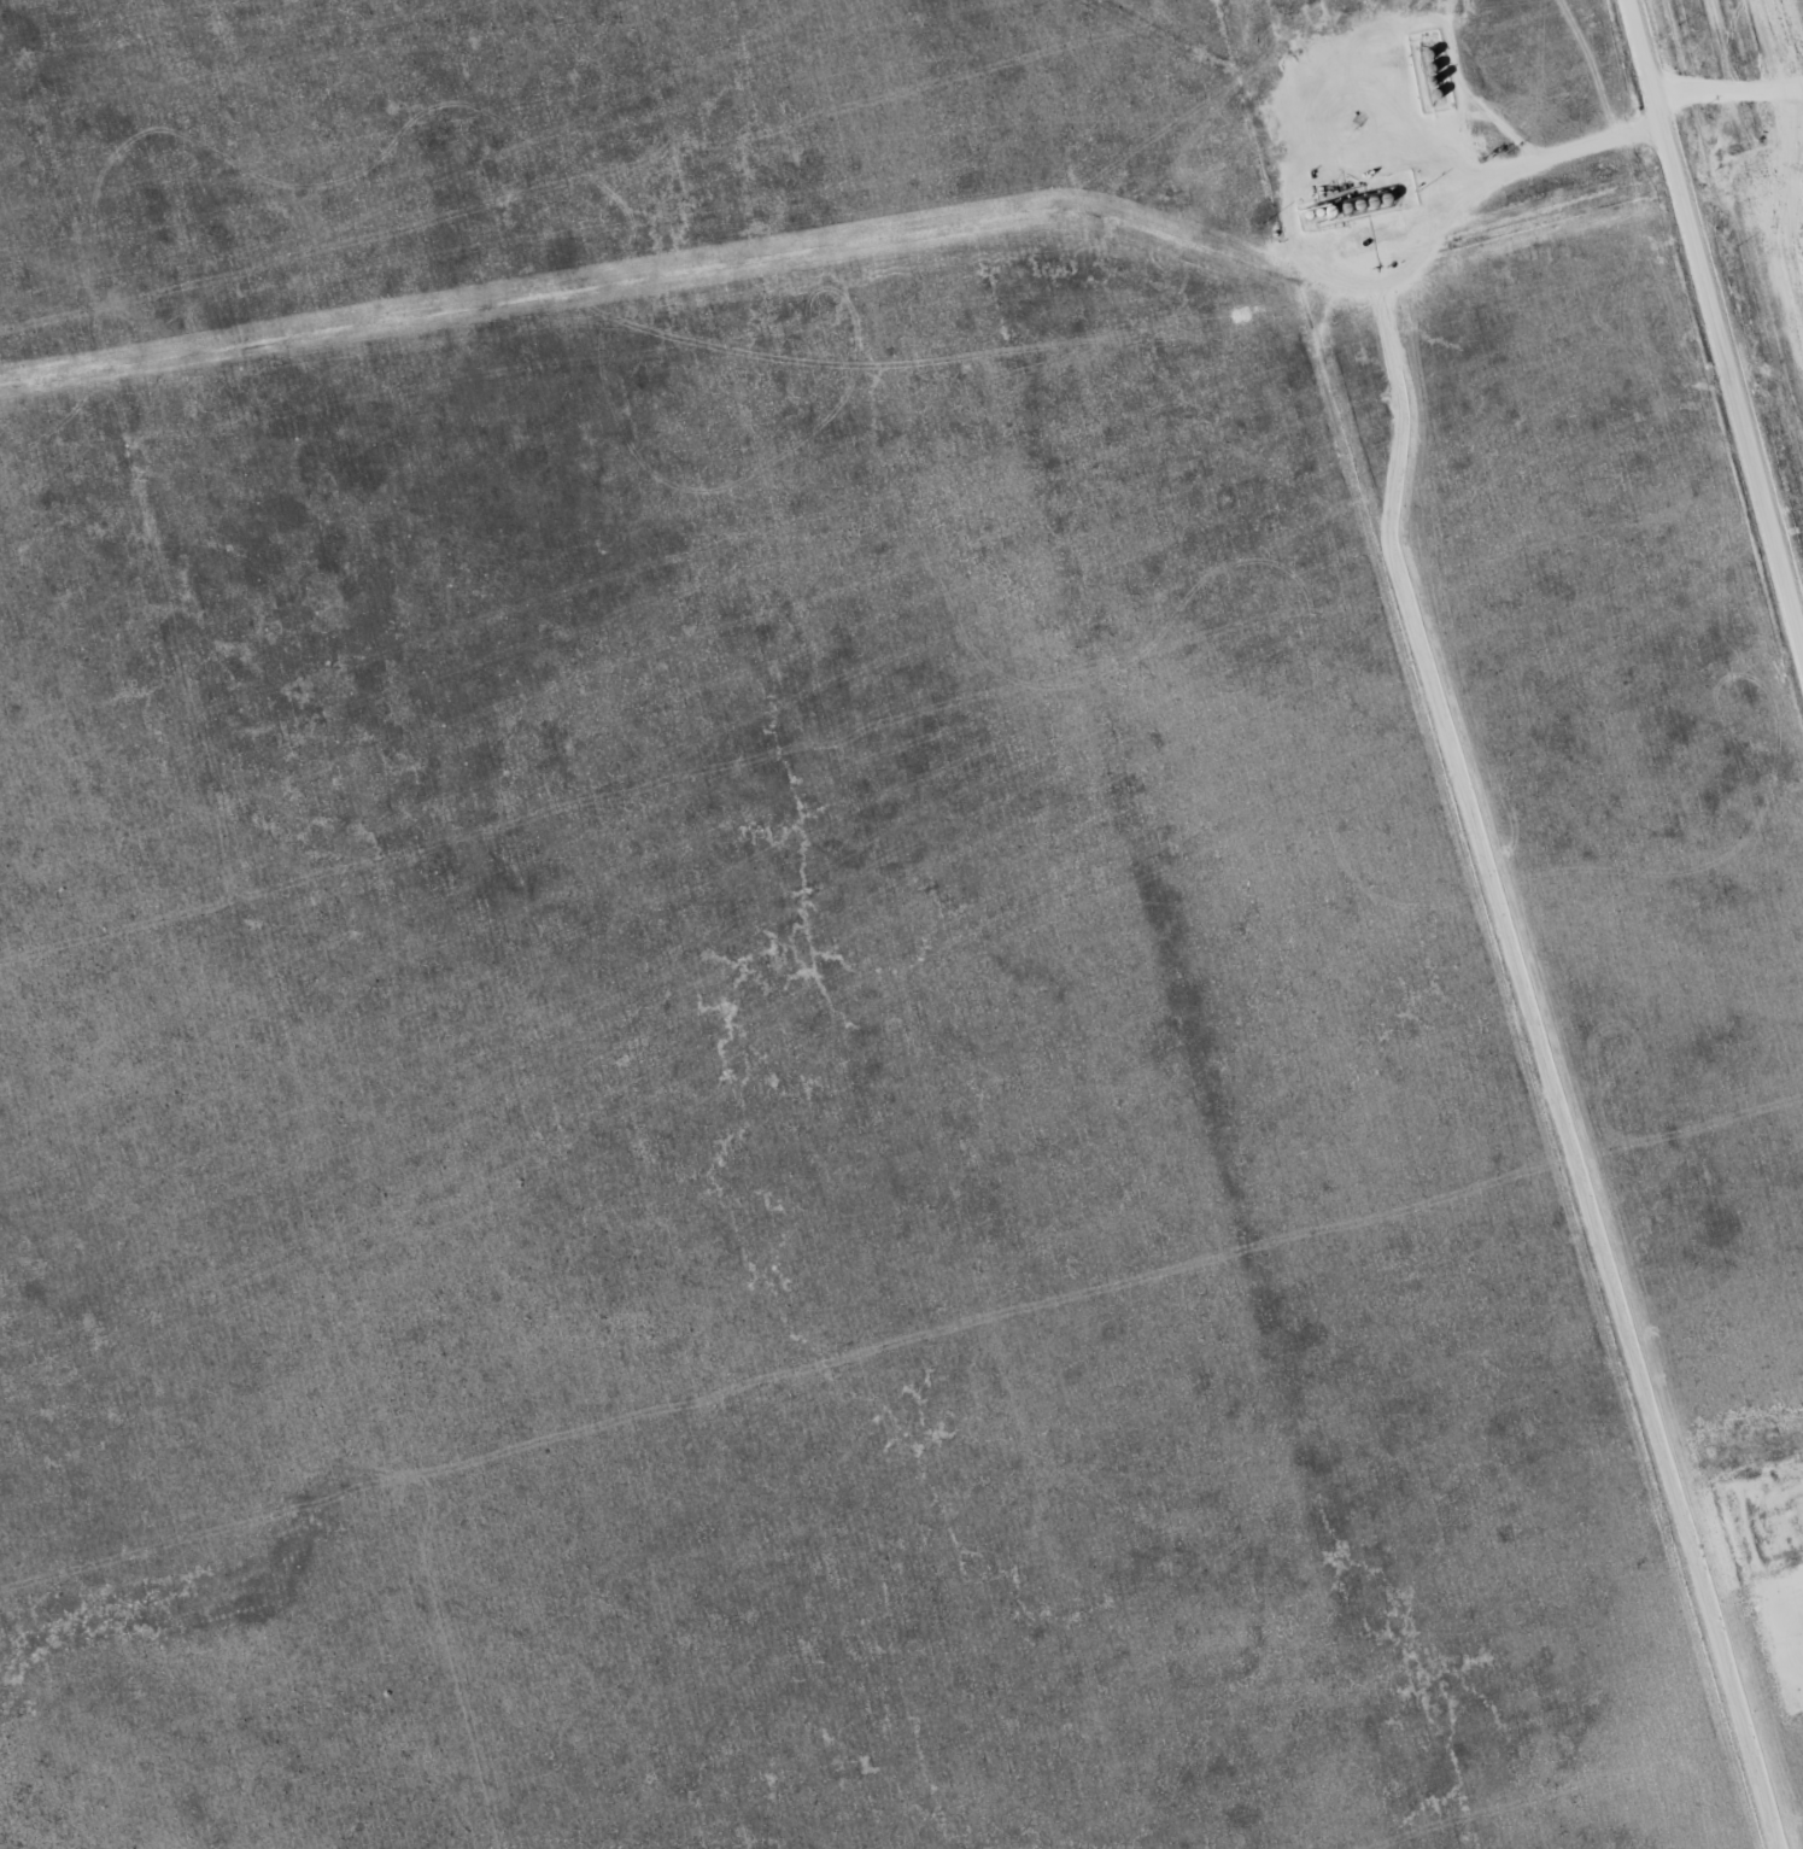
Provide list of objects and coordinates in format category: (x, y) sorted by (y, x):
road: (1717, 310)

